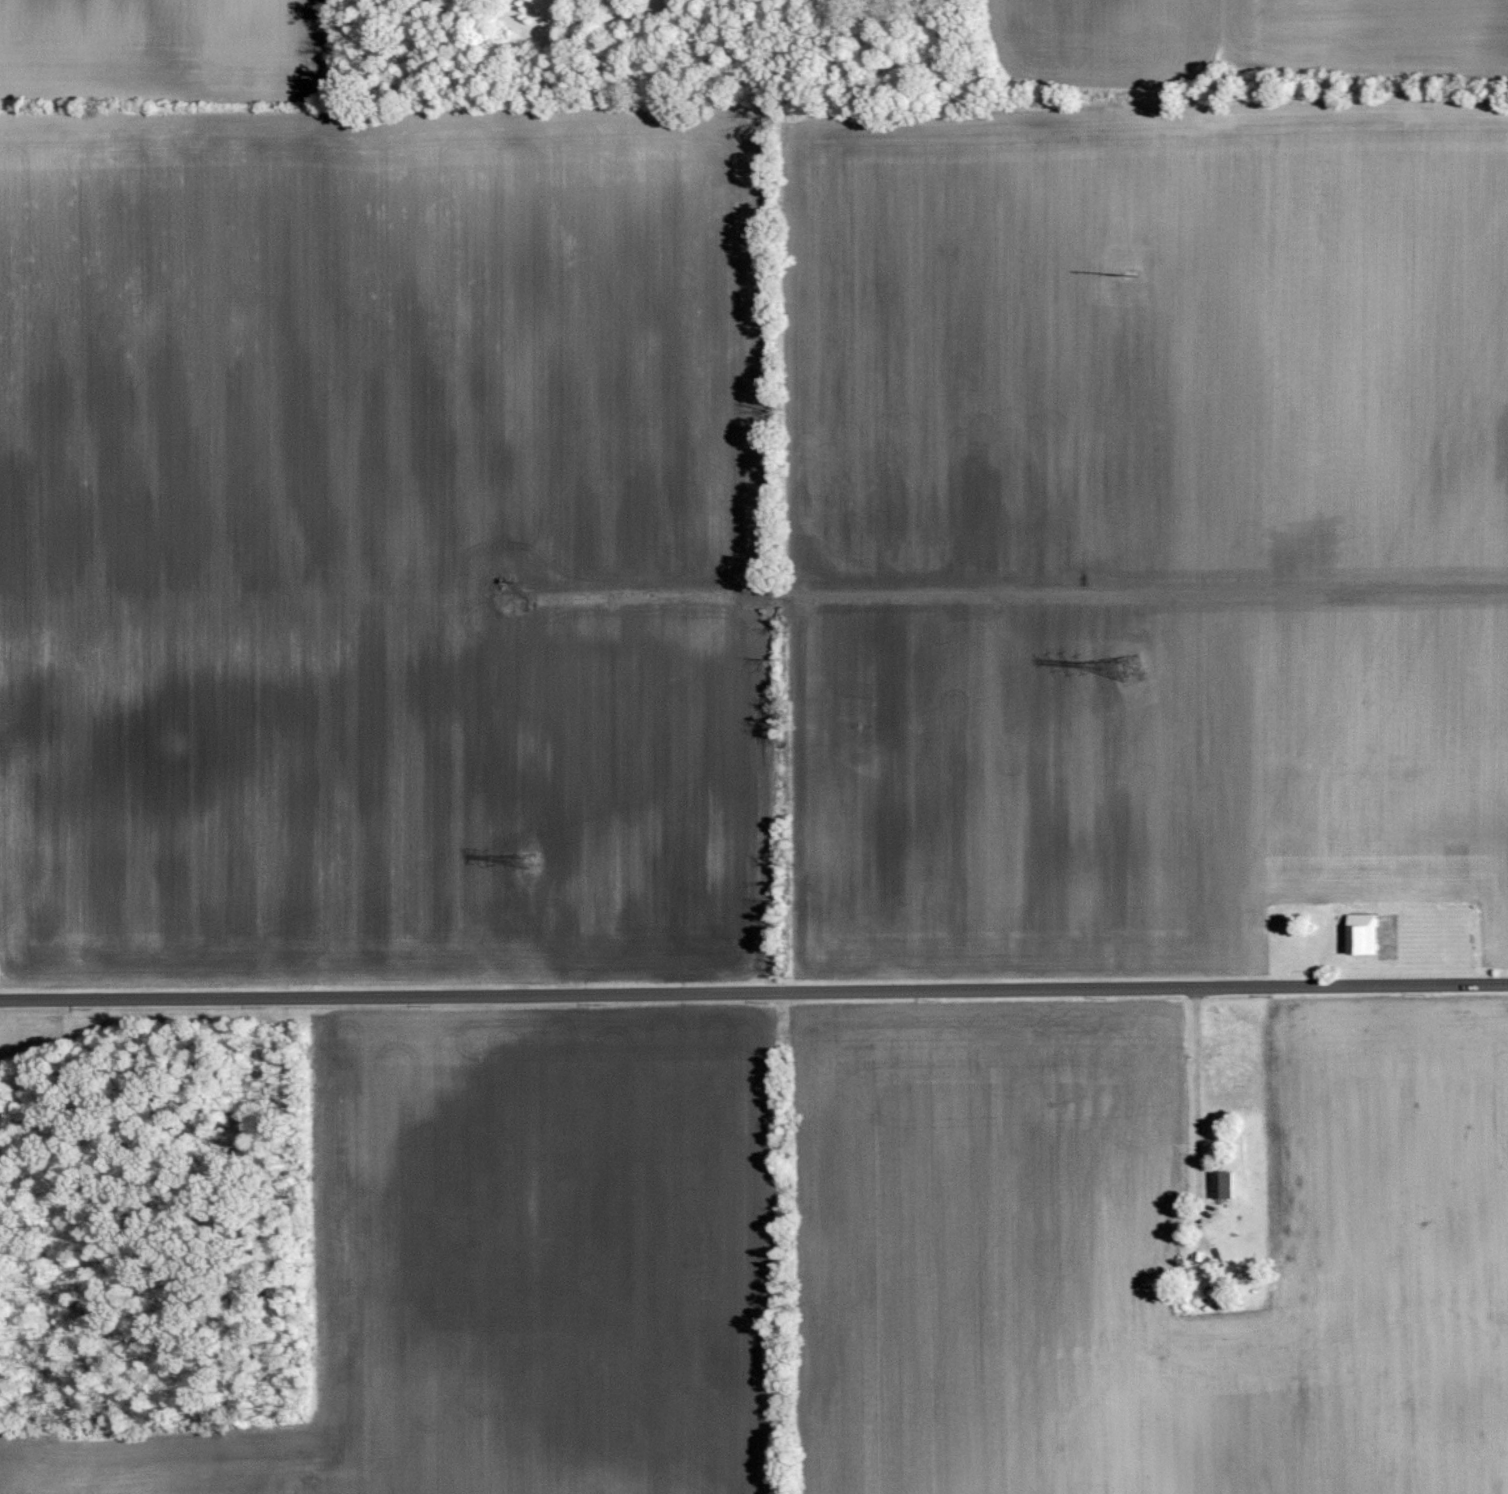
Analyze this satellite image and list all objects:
power tower: (1128, 270)
power tower: (1129, 668)
power tower: (529, 863)
building: (1360, 935)
road: (753, 990)
road: (1194, 1089)

